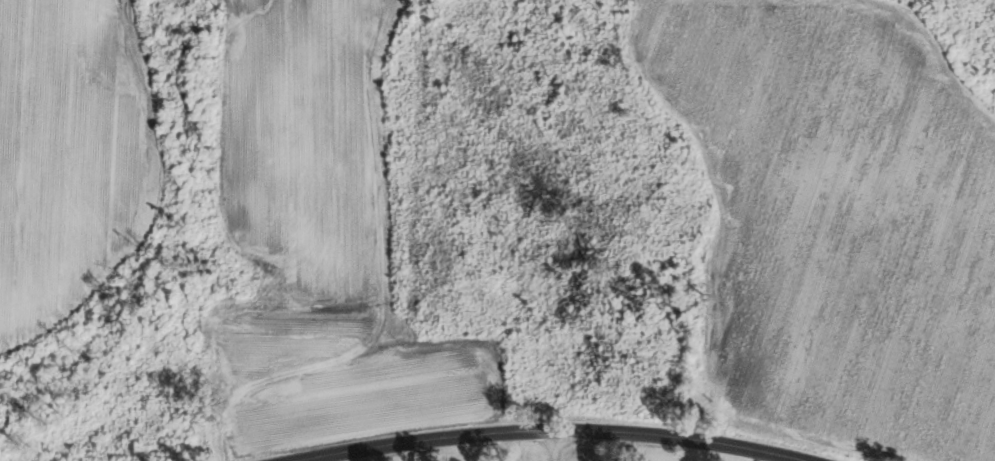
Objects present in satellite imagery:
road: (553, 433)
road: (553, 447)
road: (621, 448)
road: (760, 457)

